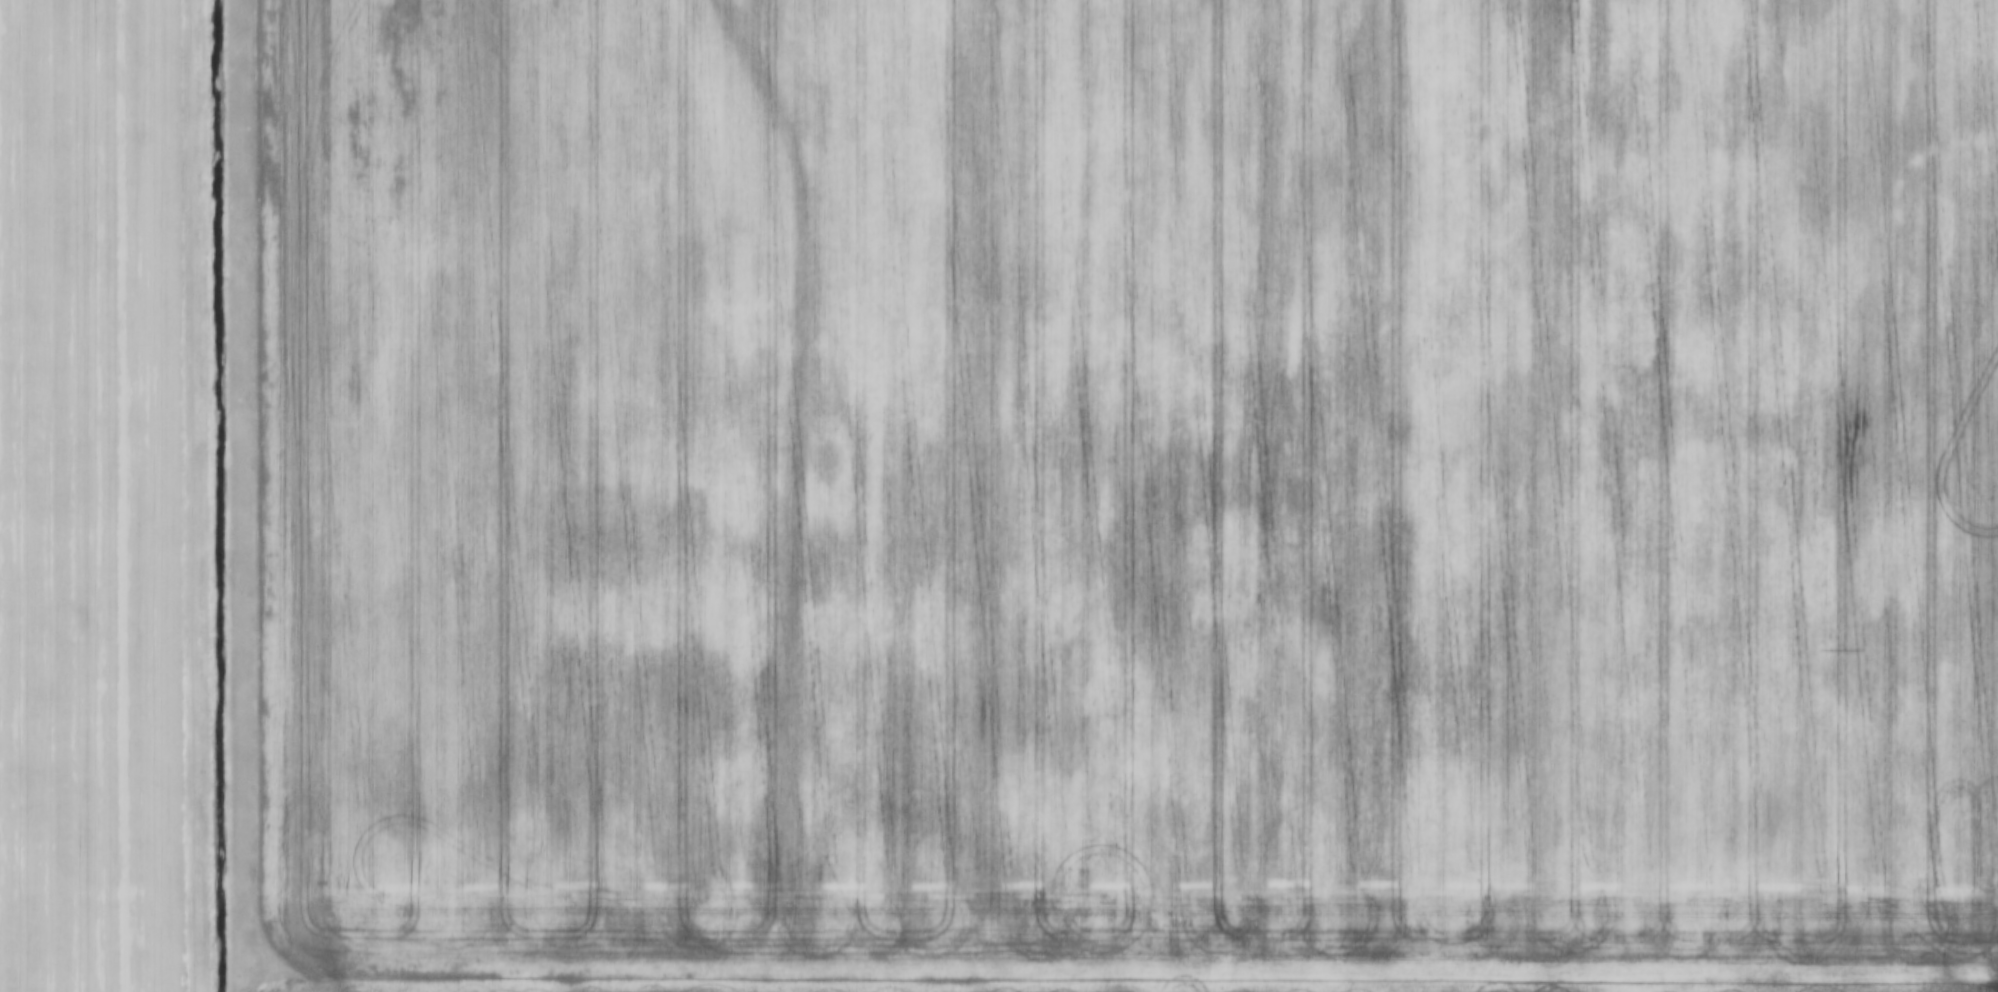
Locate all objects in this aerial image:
road: (187, 496)
crop: (90, 497)

